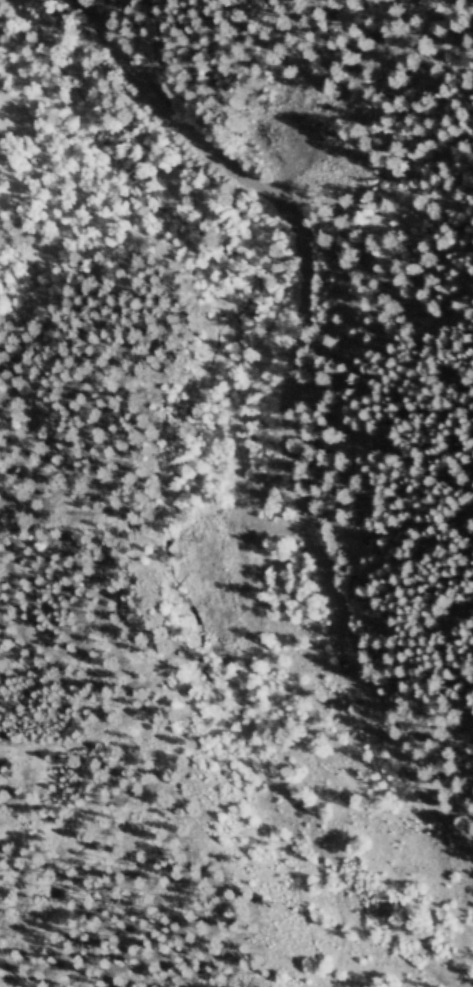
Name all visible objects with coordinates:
road: (3, 0)
road: (257, 265)
road: (288, 401)
road: (77, 420)
road: (219, 770)

